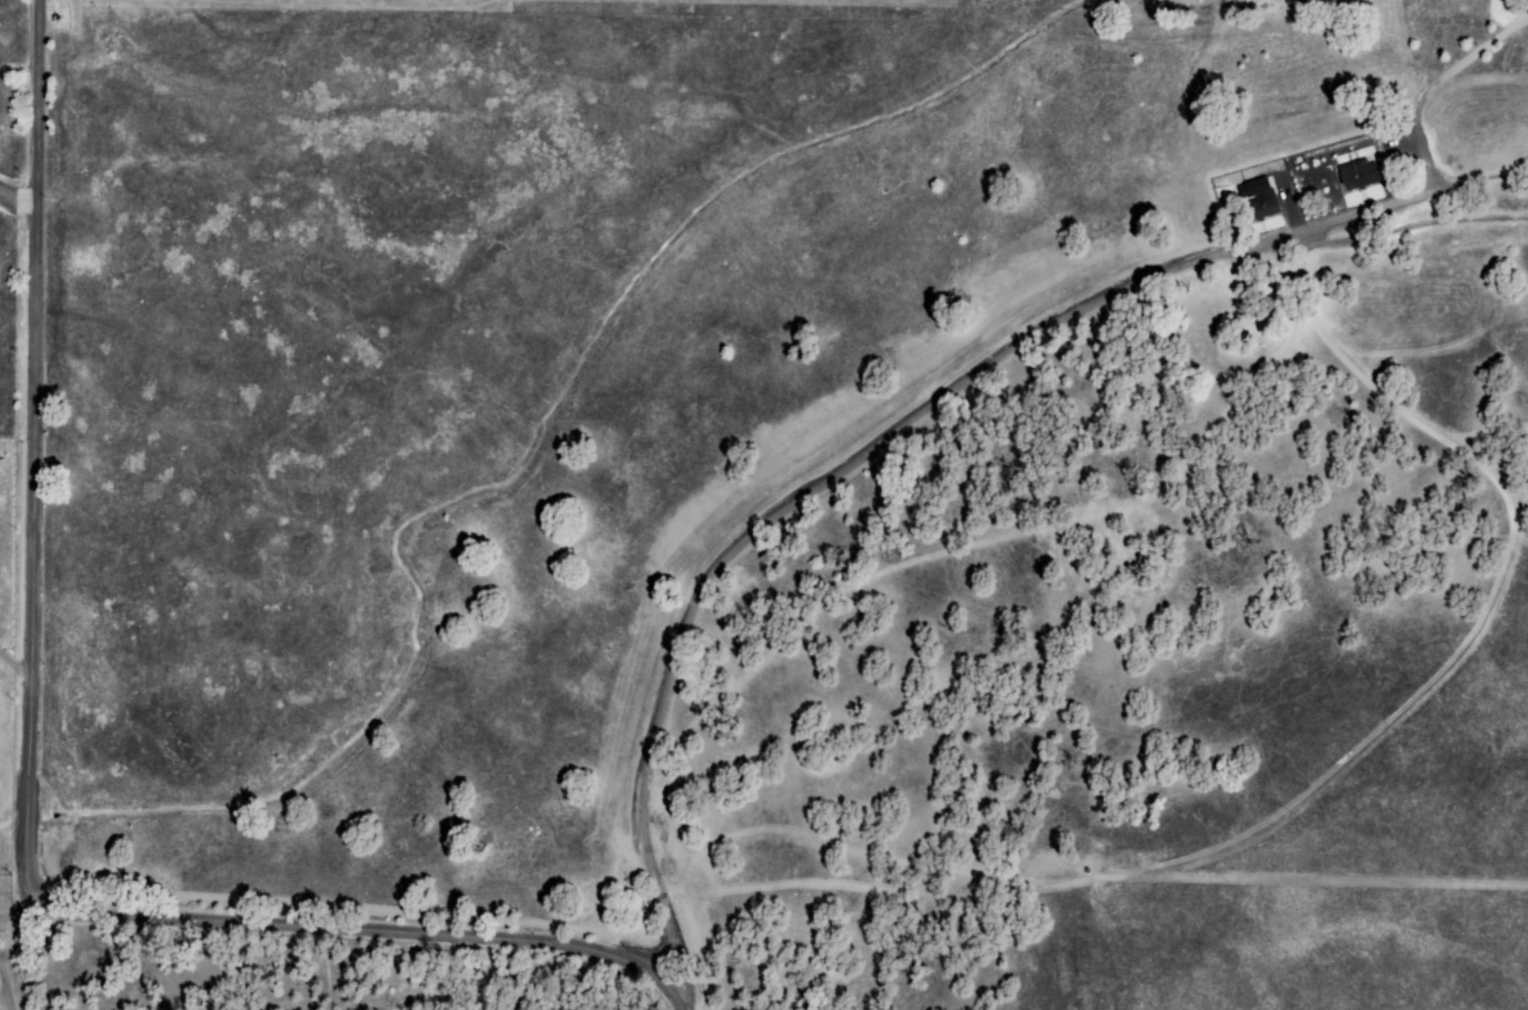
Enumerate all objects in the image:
building: (1353, 174)
building: (1255, 199)
road: (905, 429)
road: (17, 663)
road: (32, 784)
road: (17, 894)
road: (3, 987)
road: (8, 991)

